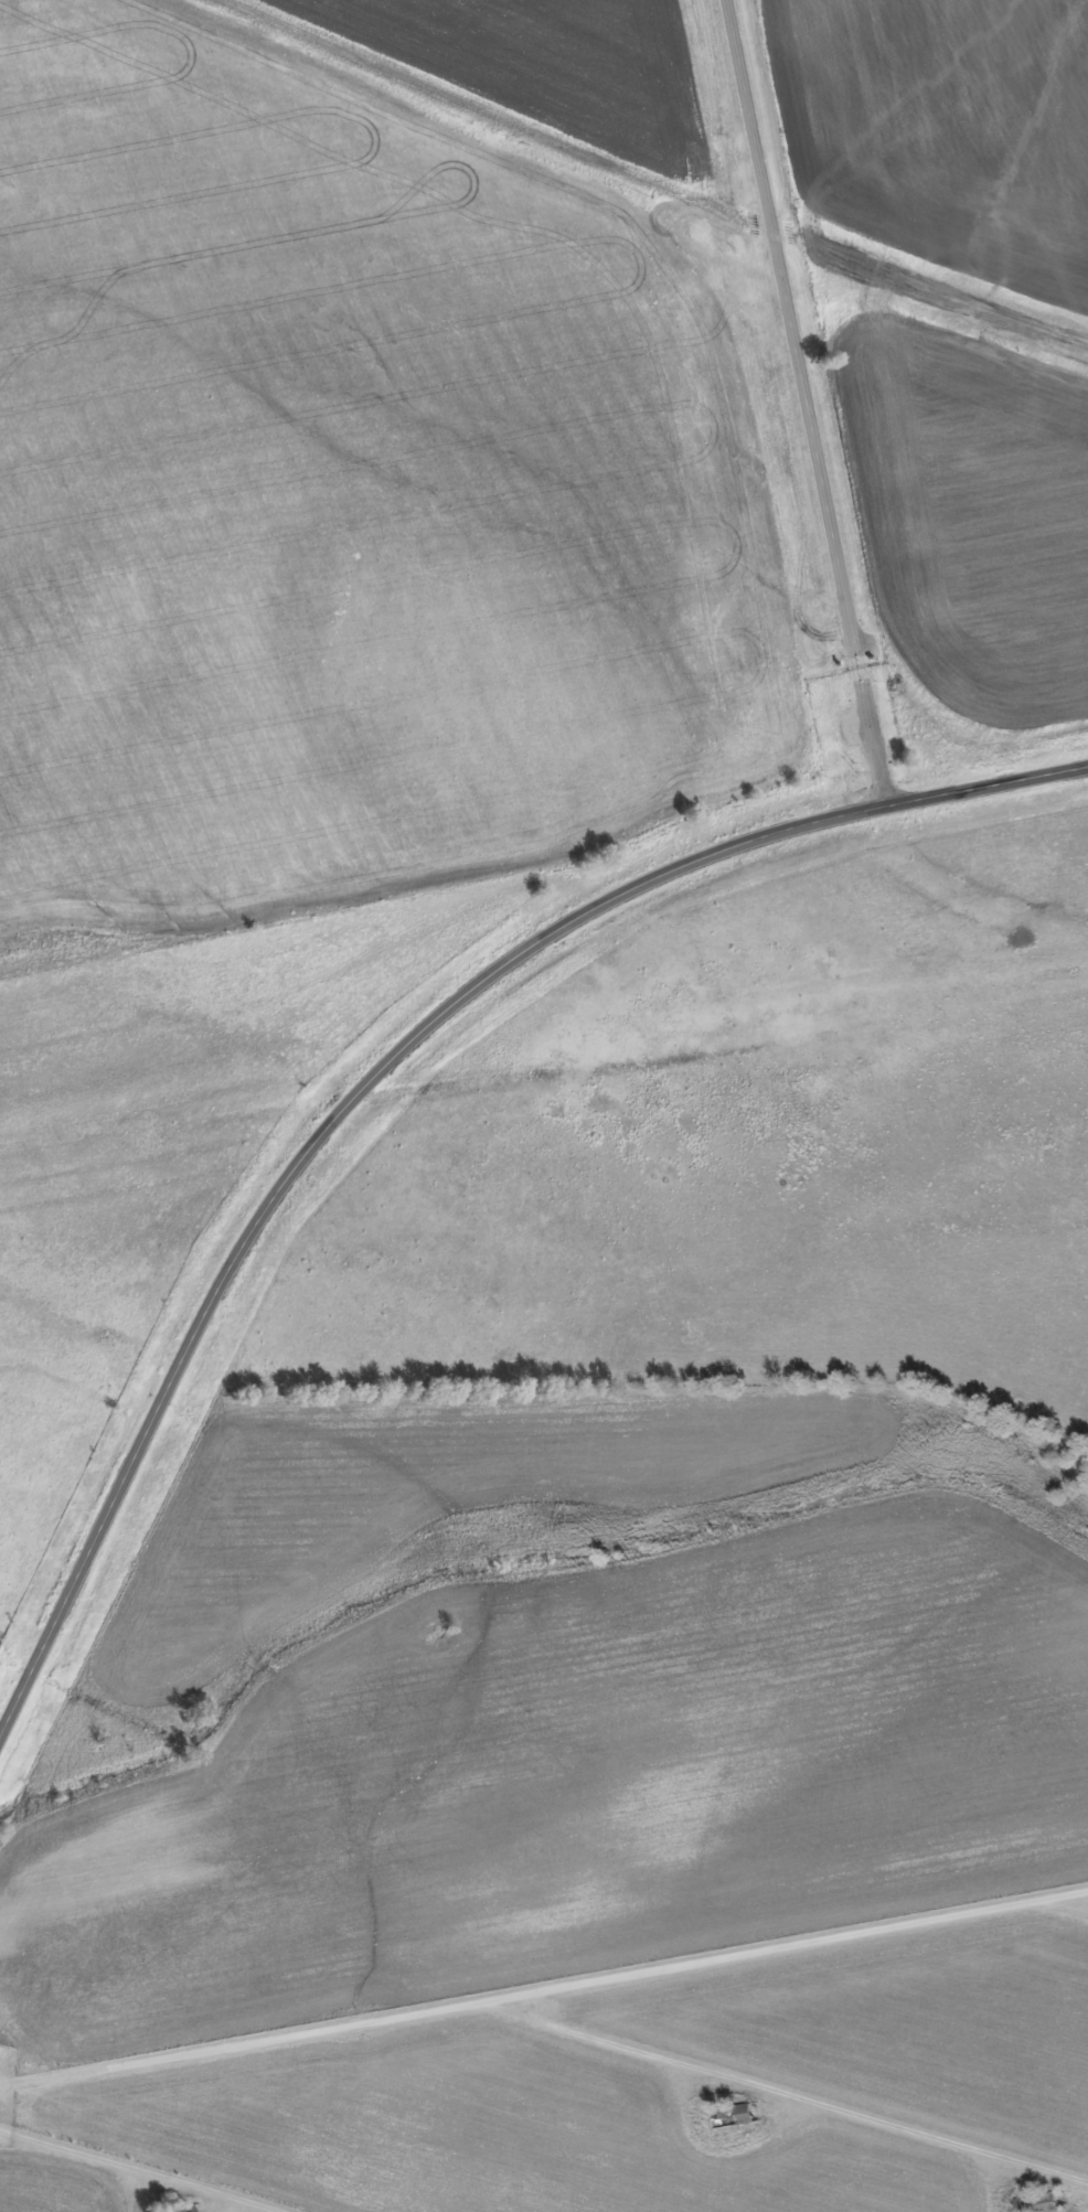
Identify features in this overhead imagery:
road: (817, 404)
railway: (666, 576)
railway: (544, 1054)
road: (386, 1066)
road: (1057, 1906)
road: (543, 1985)
road: (776, 2091)
building: (733, 2115)
road: (134, 2172)
building: (1037, 2202)
building: (175, 2209)

